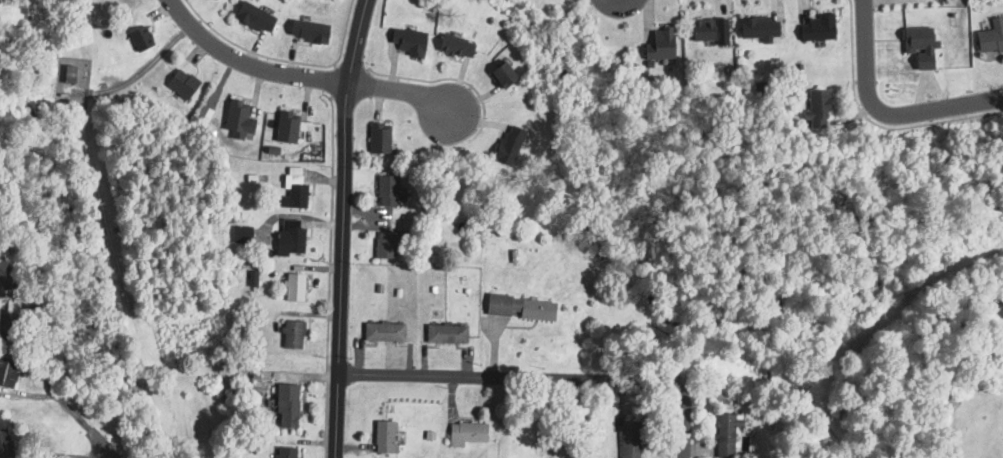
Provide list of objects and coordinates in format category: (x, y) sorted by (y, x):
building: (212, 0)
building: (253, 18)
building: (758, 28)
building: (816, 28)
building: (702, 30)
building: (307, 31)
road: (342, 33)
building: (139, 37)
building: (990, 37)
building: (407, 42)
building: (918, 45)
building: (453, 46)
building: (659, 46)
road: (250, 51)
road: (863, 51)
road: (149, 63)
road: (389, 66)
building: (66, 73)
road: (298, 76)
building: (499, 76)
road: (441, 77)
road: (330, 81)
building: (181, 83)
road: (458, 84)
road: (474, 99)
building: (815, 107)
road: (931, 107)
building: (238, 117)
road: (477, 119)
road: (873, 123)
building: (285, 126)
building: (378, 137)
building: (506, 144)
building: (292, 190)
building: (385, 190)
road: (341, 228)
building: (241, 233)
building: (288, 240)
building: (386, 243)
road: (327, 273)
building: (5, 276)
building: (293, 286)
building: (518, 307)
building: (998, 310)
building: (7, 324)
building: (383, 332)
building: (444, 333)
building: (291, 334)
building: (6, 371)
road: (509, 378)
road: (49, 388)
building: (285, 405)
road: (682, 421)
building: (465, 432)
building: (724, 433)
building: (384, 436)
building: (628, 439)
building: (4, 443)
building: (285, 452)

